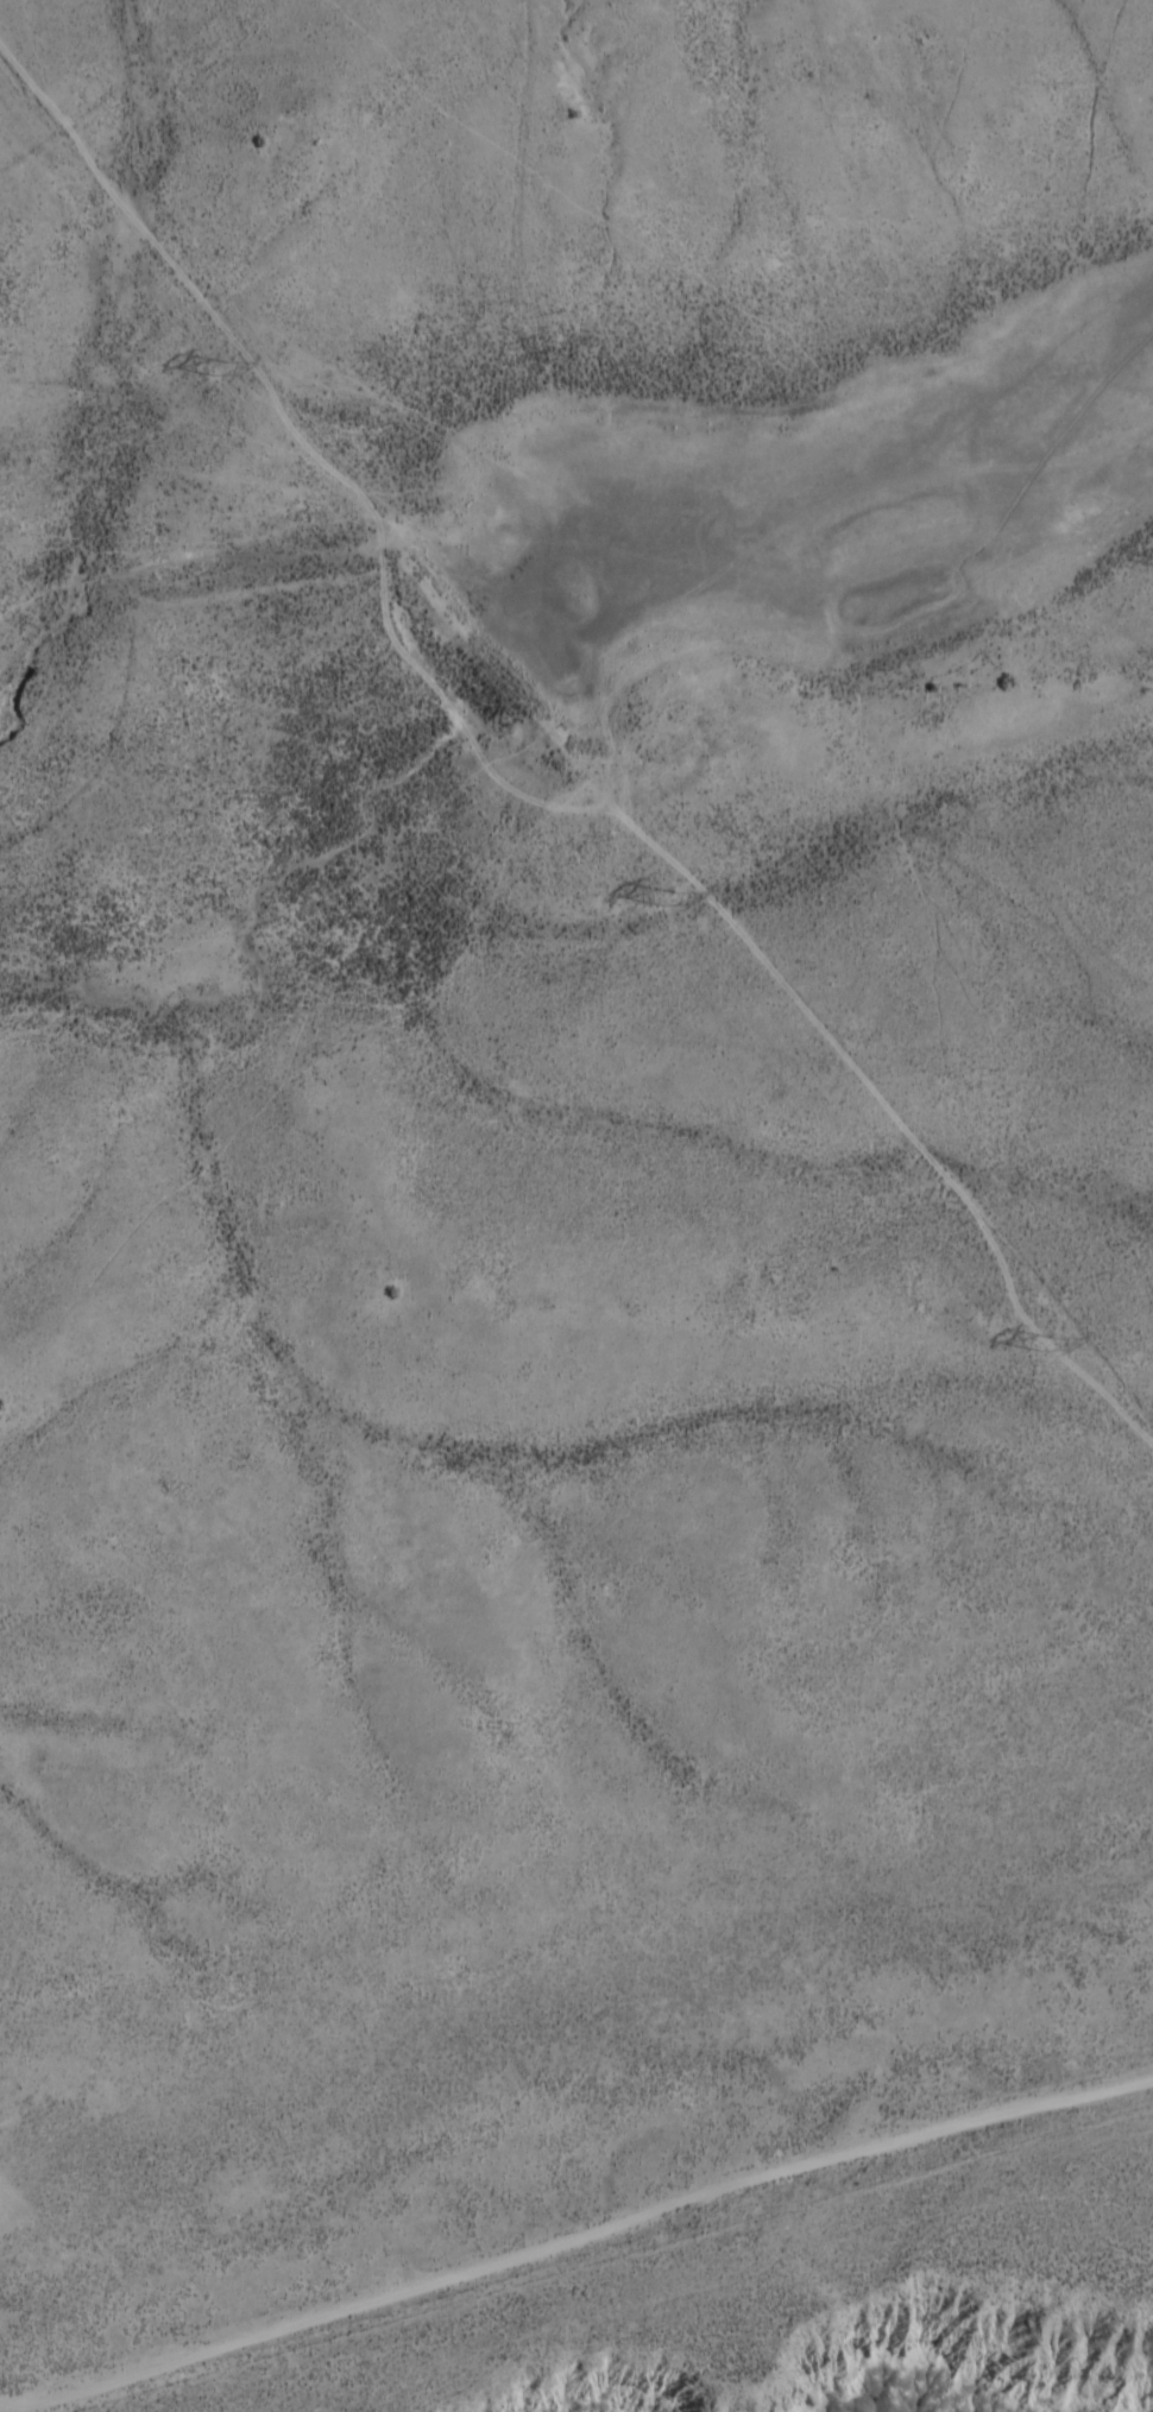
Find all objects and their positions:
power tower: (213, 371)
river: (530, 629)
power tower: (662, 899)
power tower: (1040, 1345)
road: (576, 2208)

